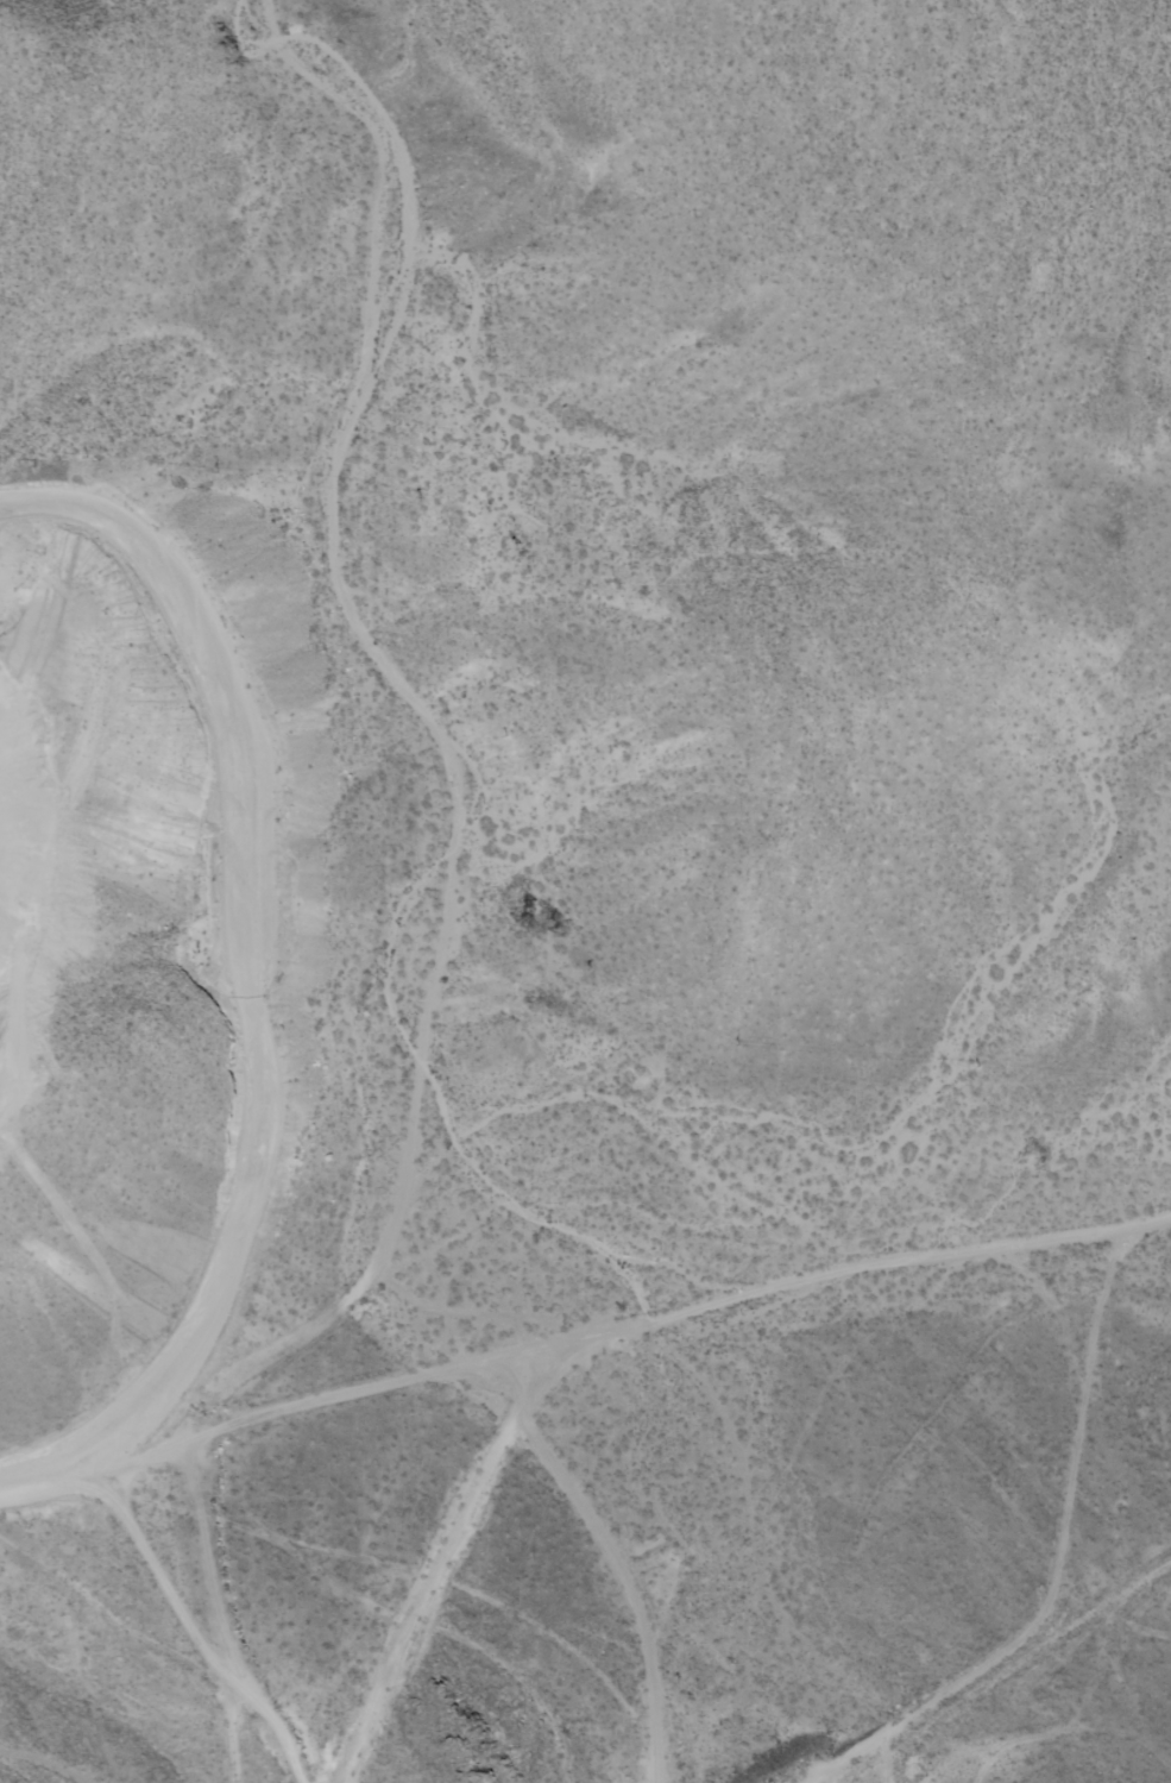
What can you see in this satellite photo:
road: (679, 1310)
road: (96, 1443)

